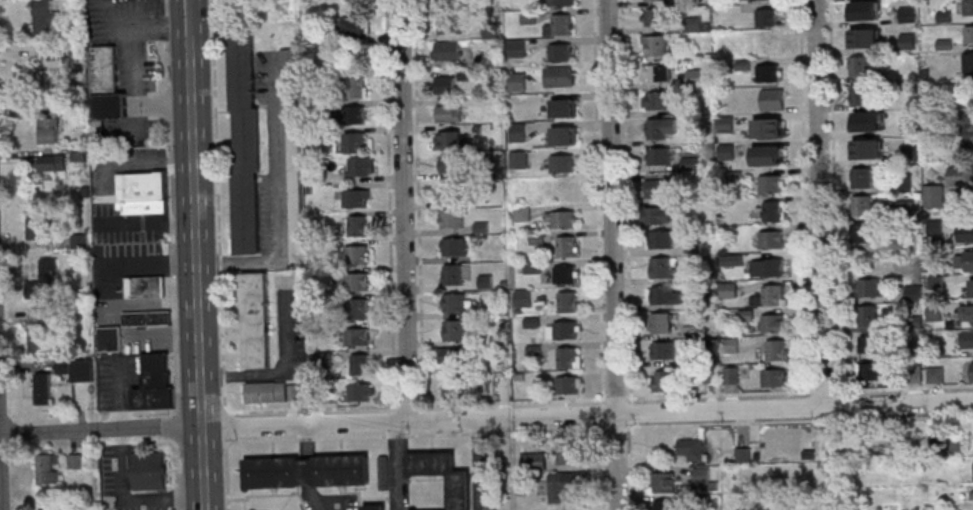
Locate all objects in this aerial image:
building: (654, 0)
building: (765, 0)
building: (561, 2)
building: (448, 3)
building: (968, 7)
building: (864, 9)
building: (906, 14)
building: (46, 15)
road: (190, 16)
building: (767, 16)
building: (657, 17)
building: (447, 24)
building: (557, 25)
building: (355, 28)
building: (969, 33)
building: (865, 38)
building: (907, 40)
building: (655, 44)
building: (769, 44)
building: (517, 47)
building: (448, 50)
building: (560, 51)
building: (287, 57)
building: (969, 62)
road: (131, 65)
building: (862, 66)
building: (657, 72)
building: (767, 72)
building: (558, 75)
building: (51, 78)
building: (518, 79)
building: (106, 84)
building: (445, 84)
building: (356, 86)
building: (861, 93)
building: (772, 99)
building: (658, 100)
building: (563, 107)
building: (449, 112)
building: (356, 114)
building: (867, 120)
building: (726, 123)
building: (910, 125)
building: (767, 127)
building: (661, 128)
building: (48, 129)
building: (518, 131)
building: (563, 134)
building: (968, 136)
building: (450, 138)
building: (245, 139)
building: (354, 141)
building: (867, 148)
building: (726, 151)
building: (659, 155)
building: (767, 155)
building: (50, 162)
building: (452, 162)
building: (563, 163)
road: (148, 164)
building: (361, 165)
building: (294, 172)
building: (861, 176)
building: (960, 176)
building: (770, 182)
building: (903, 182)
building: (659, 187)
building: (566, 190)
building: (142, 192)
building: (453, 192)
road: (276, 194)
road: (805, 194)
road: (834, 194)
building: (934, 195)
building: (357, 197)
road: (419, 201)
road: (390, 202)
road: (820, 202)
road: (169, 205)
building: (861, 205)
road: (612, 206)
road: (405, 210)
building: (772, 210)
building: (654, 215)
building: (454, 218)
building: (563, 219)
road: (151, 222)
building: (359, 225)
building: (37, 226)
building: (934, 226)
building: (967, 231)
building: (862, 233)
building: (770, 238)
building: (662, 239)
building: (79, 240)
building: (455, 245)
building: (566, 246)
building: (360, 253)
road: (219, 255)
road: (599, 255)
road: (627, 255)
building: (965, 260)
road: (150, 266)
building: (663, 266)
building: (771, 266)
road: (200, 271)
building: (453, 274)
building: (565, 274)
building: (45, 279)
building: (356, 281)
building: (146, 286)
building: (971, 287)
building: (868, 288)
building: (728, 290)
building: (662, 294)
building: (769, 295)
building: (455, 301)
building: (567, 301)
building: (357, 308)
building: (967, 312)
building: (868, 316)
building: (147, 317)
building: (257, 319)
building: (660, 322)
building: (773, 322)
building: (454, 329)
building: (566, 329)
building: (38, 330)
building: (357, 336)
building: (110, 338)
building: (967, 338)
building: (870, 344)
building: (663, 349)
building: (777, 349)
building: (453, 354)
building: (568, 357)
building: (360, 363)
building: (83, 369)
building: (972, 371)
building: (871, 372)
road: (289, 374)
building: (936, 374)
building: (731, 377)
building: (773, 377)
building: (664, 380)
building: (155, 383)
building: (567, 383)
building: (457, 387)
building: (44, 388)
building: (272, 391)
building: (361, 391)
road: (599, 397)
road: (121, 411)
road: (486, 419)
road: (178, 426)
road: (600, 426)
road: (142, 440)
building: (692, 448)
building: (743, 454)
road: (1, 458)
building: (534, 459)
building: (75, 460)
road: (178, 460)
road: (618, 461)
road: (400, 463)
road: (478, 465)
building: (49, 468)
building: (306, 470)
building: (149, 471)
building: (384, 472)
road: (309, 473)
building: (702, 474)
building: (665, 482)
building: (564, 484)
building: (459, 491)
road: (180, 495)
road: (134, 497)
building: (664, 504)
building: (374, 507)
building: (48, 509)
building: (412, 509)

